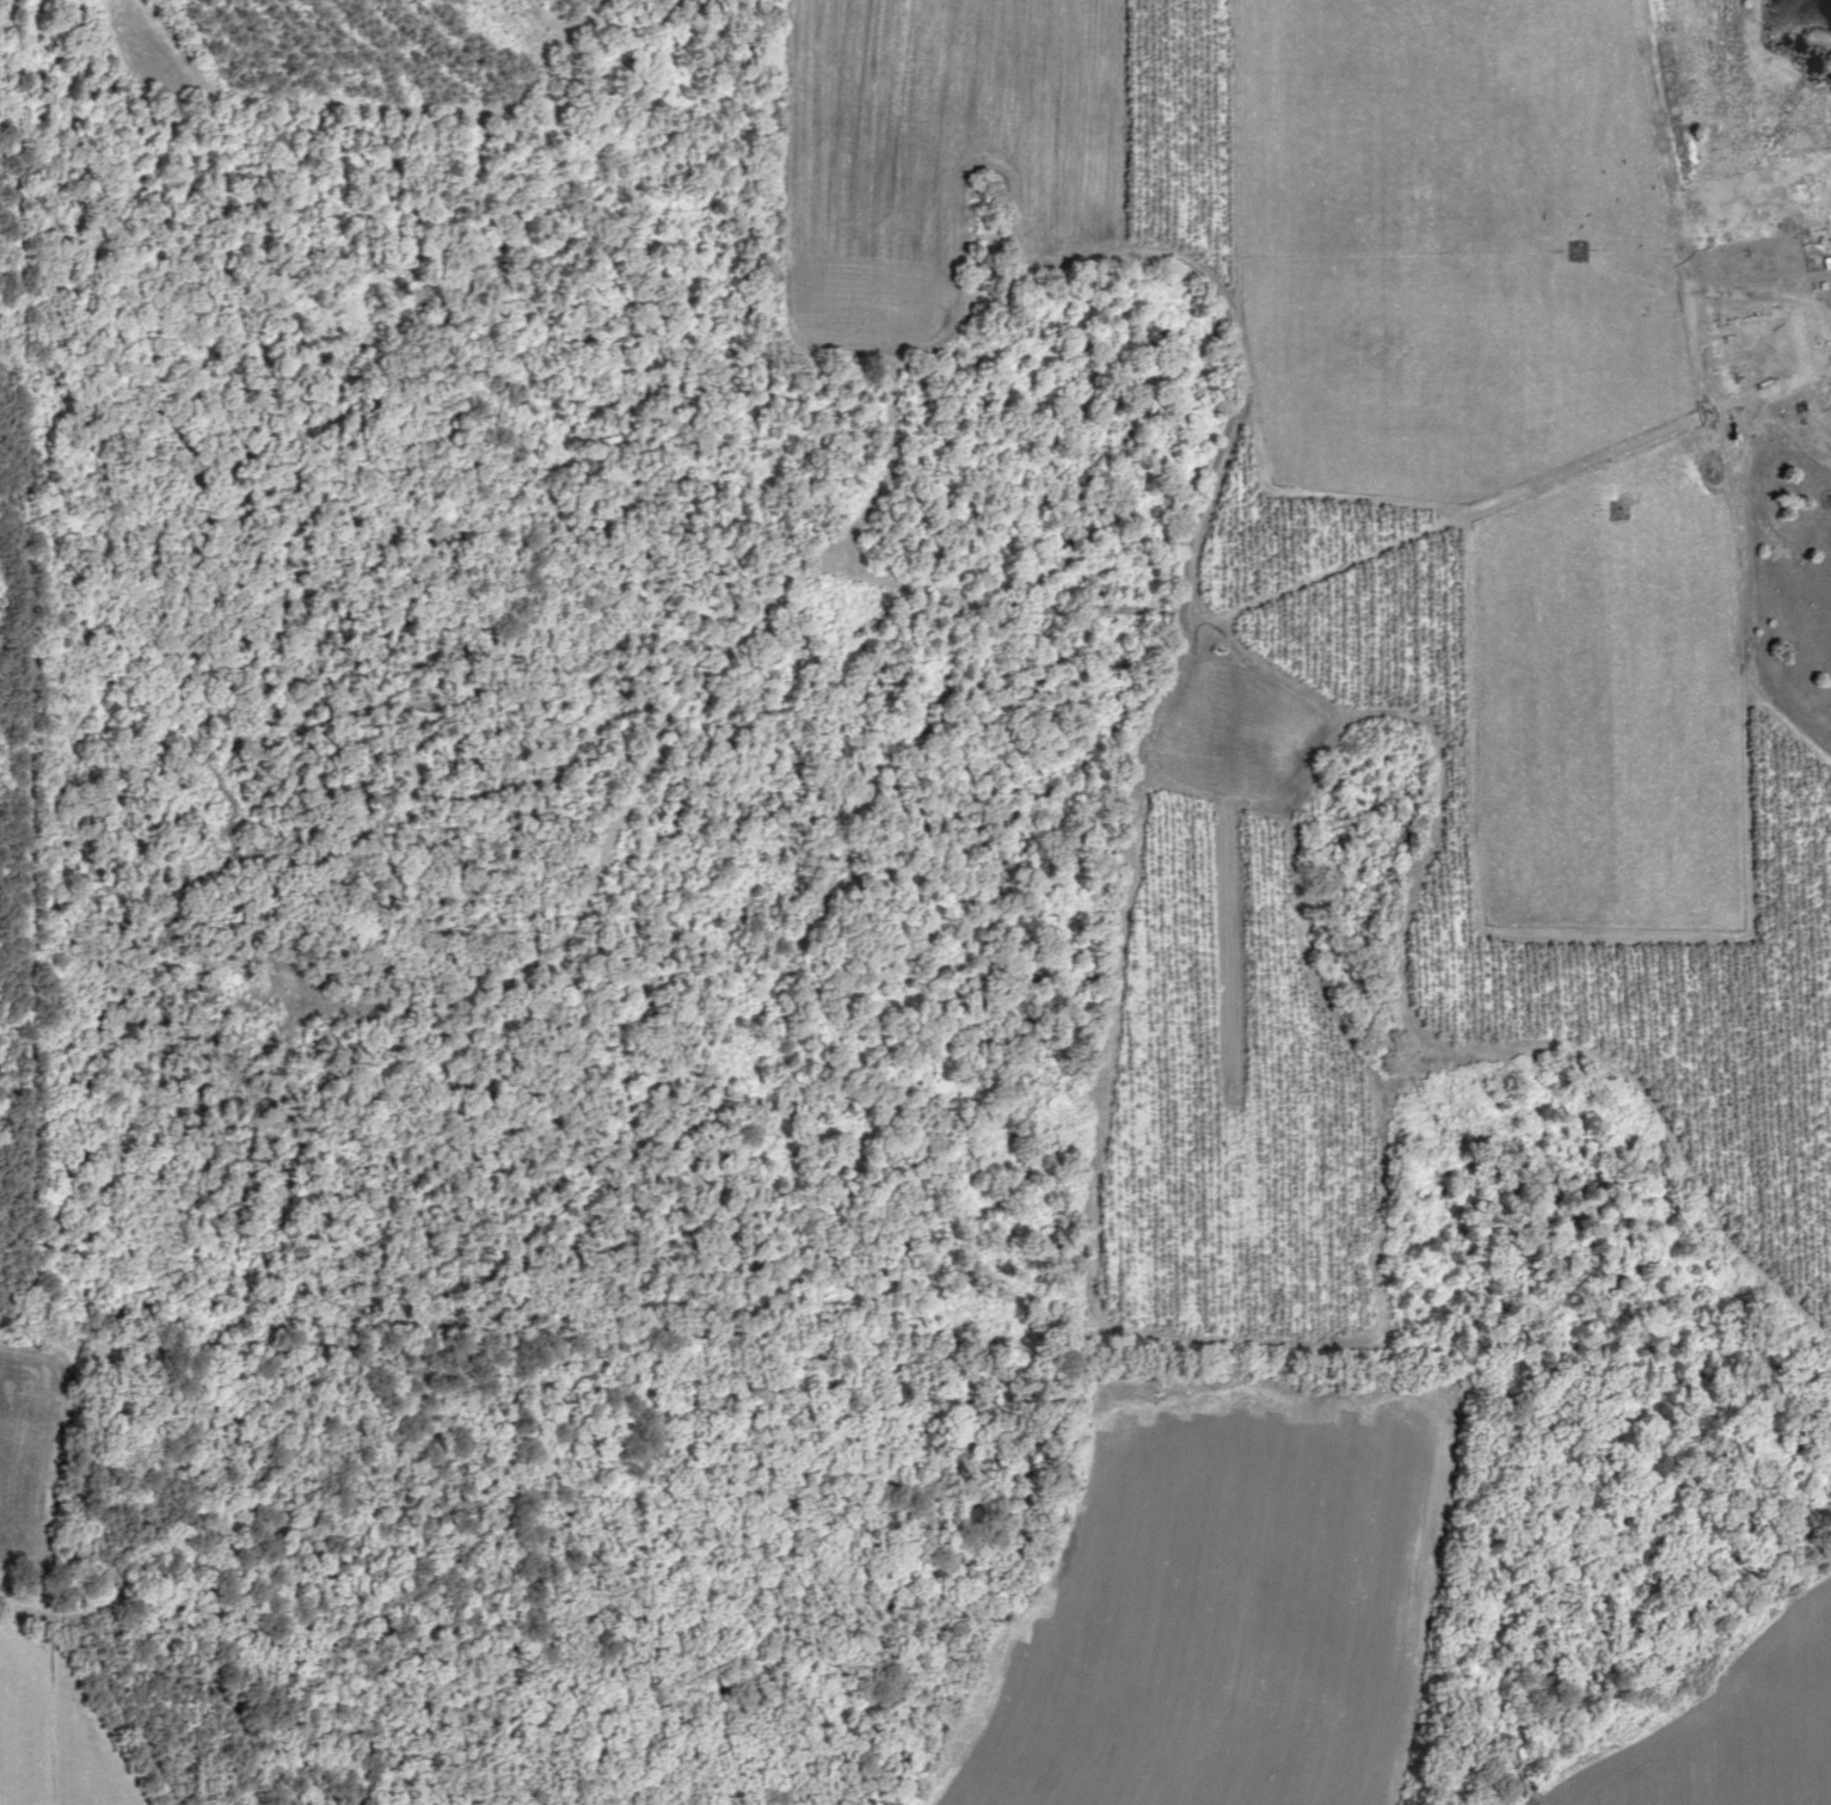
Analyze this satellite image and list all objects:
building: (1824, 251)

